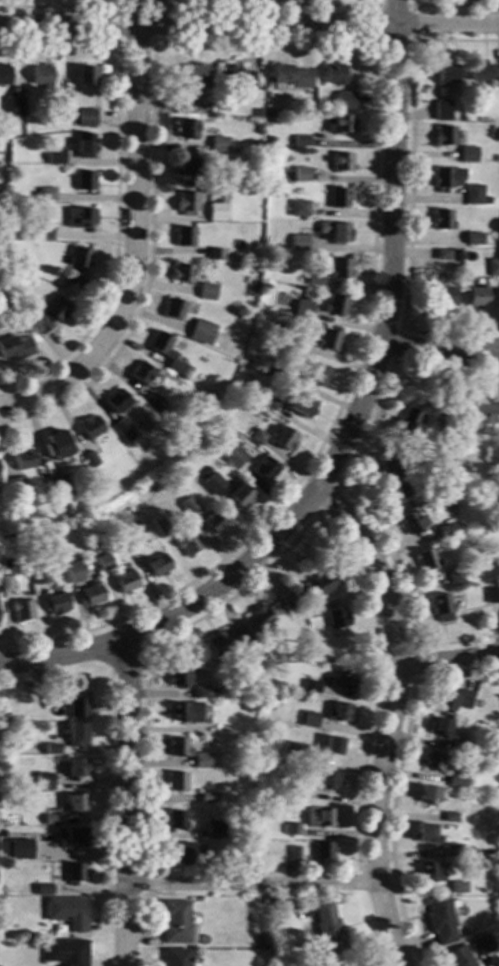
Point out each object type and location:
road: (451, 4)
road: (189, 5)
road: (249, 23)
road: (409, 40)
road: (134, 41)
building: (482, 72)
building: (4, 73)
building: (190, 73)
building: (333, 73)
building: (445, 73)
building: (85, 75)
building: (236, 75)
building: (41, 76)
building: (288, 77)
building: (180, 100)
building: (344, 100)
building: (62, 101)
road: (373, 104)
building: (12, 106)
building: (257, 112)
building: (272, 113)
building: (442, 113)
building: (86, 117)
building: (42, 121)
building: (339, 124)
building: (185, 129)
building: (444, 136)
building: (300, 140)
building: (218, 143)
building: (84, 144)
building: (256, 144)
building: (468, 154)
building: (55, 156)
building: (341, 162)
building: (185, 166)
building: (300, 174)
building: (446, 177)
building: (84, 180)
building: (211, 181)
road: (114, 182)
road: (408, 190)
building: (46, 193)
building: (34, 194)
building: (473, 194)
building: (338, 197)
building: (487, 200)
building: (186, 203)
building: (298, 208)
building: (216, 211)
building: (79, 217)
building: (441, 219)
building: (27, 230)
building: (41, 230)
building: (335, 231)
building: (183, 236)
building: (473, 238)
building: (298, 242)
road: (131, 246)
road: (389, 249)
building: (215, 254)
building: (442, 254)
building: (77, 264)
building: (492, 267)
building: (339, 269)
building: (182, 273)
building: (314, 277)
building: (425, 278)
building: (208, 290)
building: (443, 295)
building: (476, 296)
building: (336, 304)
building: (172, 308)
building: (303, 308)
building: (50, 315)
building: (202, 331)
building: (328, 339)
building: (282, 341)
building: (294, 344)
road: (395, 345)
building: (15, 347)
building: (165, 351)
road: (439, 351)
building: (278, 369)
building: (141, 374)
building: (317, 374)
building: (251, 398)
building: (116, 401)
building: (152, 402)
building: (268, 403)
building: (300, 405)
building: (476, 407)
building: (447, 421)
building: (89, 426)
building: (404, 426)
building: (122, 430)
building: (257, 435)
building: (284, 438)
building: (449, 438)
building: (56, 447)
building: (232, 454)
building: (493, 456)
building: (22, 458)
building: (89, 459)
building: (264, 468)
building: (394, 478)
building: (212, 483)
building: (14, 485)
building: (58, 486)
road: (348, 493)
building: (240, 495)
road: (322, 500)
building: (188, 506)
building: (62, 509)
building: (214, 521)
building: (409, 522)
building: (159, 525)
building: (445, 529)
building: (129, 540)
building: (187, 543)
road: (290, 545)
building: (97, 548)
building: (425, 559)
building: (103, 562)
building: (157, 564)
building: (73, 572)
building: (40, 574)
building: (454, 574)
building: (125, 581)
building: (5, 583)
building: (496, 583)
building: (315, 586)
building: (91, 595)
building: (491, 595)
building: (288, 600)
building: (55, 603)
building: (441, 607)
building: (21, 610)
road: (179, 610)
building: (314, 611)
building: (336, 617)
building: (259, 618)
building: (219, 644)
road: (412, 645)
building: (249, 646)
road: (124, 654)
road: (447, 658)
building: (178, 677)
building: (342, 677)
building: (312, 686)
building: (203, 692)
building: (453, 700)
building: (77, 708)
building: (184, 712)
building: (339, 713)
road: (389, 717)
building: (308, 719)
building: (440, 727)
building: (208, 728)
building: (75, 734)
building: (333, 745)
building: (461, 746)
building: (2, 747)
building: (178, 747)
building: (52, 748)
building: (294, 750)
building: (494, 754)
building: (202, 760)
building: (433, 760)
building: (74, 768)
building: (326, 780)
building: (44, 781)
road: (107, 781)
building: (176, 781)
road: (394, 781)
building: (455, 782)
building: (295, 789)
building: (426, 795)
building: (208, 797)
road: (123, 801)
building: (74, 803)
building: (51, 816)
building: (319, 817)
building: (449, 817)
building: (176, 820)
building: (214, 829)
building: (292, 829)
building: (425, 834)
building: (72, 838)
building: (20, 849)
building: (322, 850)
building: (182, 852)
building: (242, 852)
building: (451, 852)
building: (293, 854)
building: (428, 872)
building: (74, 873)
road: (249, 882)
building: (456, 887)
building: (44, 889)
road: (87, 889)
building: (263, 900)
building: (67, 912)
building: (439, 920)
building: (176, 922)
building: (326, 927)
building: (482, 944)
building: (66, 952)
building: (176, 957)
building: (457, 957)

